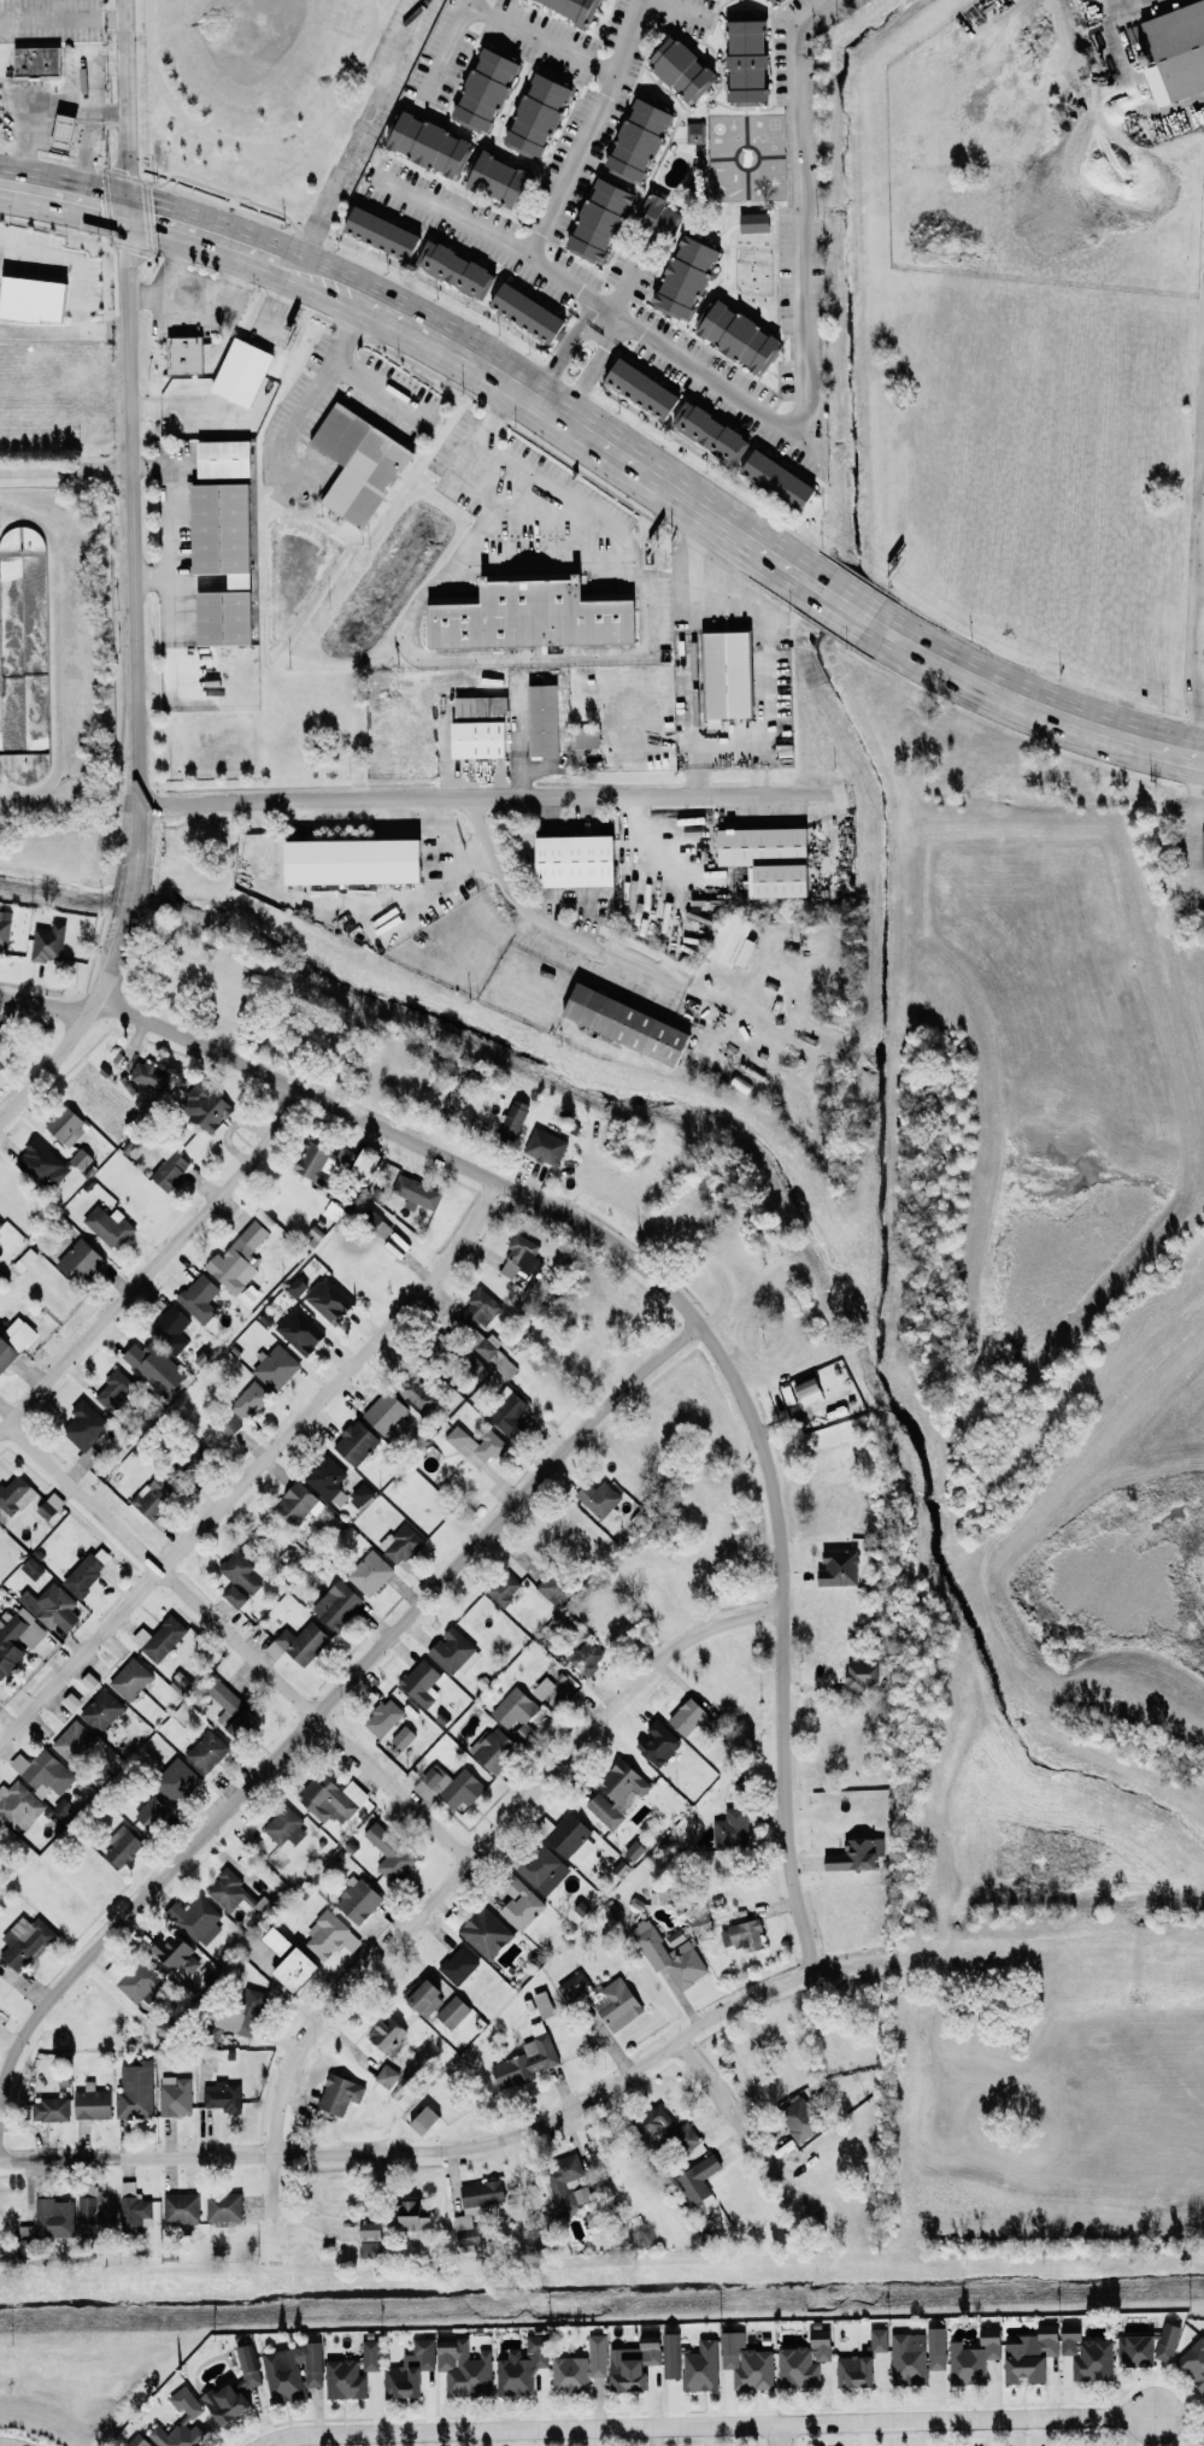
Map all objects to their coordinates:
building: (765, 1)
road: (1134, 7)
road: (95, 8)
building: (566, 8)
road: (675, 10)
road: (108, 17)
road: (48, 19)
road: (540, 37)
road: (447, 48)
building: (1170, 48)
building: (41, 60)
building: (739, 61)
building: (674, 67)
road: (365, 74)
road: (1140, 86)
building: (477, 88)
park: (276, 99)
road: (122, 105)
road: (110, 113)
building: (529, 114)
road: (89, 119)
road: (39, 127)
road: (589, 129)
building: (70, 131)
building: (691, 133)
road: (356, 134)
building: (630, 139)
building: (421, 143)
road: (258, 146)
building: (489, 177)
road: (61, 195)
traffic signals: (124, 210)
building: (652, 216)
building: (592, 218)
building: (374, 231)
road: (210, 234)
road: (178, 264)
road: (72, 265)
building: (447, 269)
building: (677, 276)
road: (628, 277)
building: (37, 299)
road: (206, 304)
building: (518, 311)
road: (597, 319)
road: (607, 327)
road: (64, 336)
building: (730, 336)
building: (178, 354)
road: (560, 363)
building: (1203, 370)
building: (233, 371)
road: (585, 378)
building: (634, 387)
road: (380, 388)
road: (313, 389)
road: (564, 416)
road: (781, 424)
building: (704, 433)
road: (1203, 449)
building: (219, 458)
building: (352, 464)
road: (66, 472)
building: (769, 478)
road: (1203, 506)
road: (539, 513)
road: (164, 521)
road: (134, 535)
building: (216, 560)
road: (536, 561)
road: (739, 590)
road: (846, 605)
road: (1197, 607)
building: (521, 617)
wastewater plant: (55, 642)
road: (698, 643)
building: (23, 648)
road: (511, 659)
road: (1198, 695)
road: (1030, 701)
road: (781, 706)
building: (535, 719)
building: (474, 728)
building: (577, 741)
road: (730, 762)
road: (499, 788)
road: (1198, 827)
building: (1202, 849)
building: (764, 859)
building: (564, 860)
building: (345, 862)
road: (129, 889)
building: (6, 928)
building: (52, 942)
building: (727, 942)
road: (619, 958)
road: (77, 1025)
building: (617, 1025)
building: (1, 1053)
building: (152, 1077)
building: (210, 1104)
building: (516, 1117)
building: (69, 1124)
building: (547, 1145)
building: (83, 1157)
building: (316, 1160)
building: (45, 1164)
river: (775, 1164)
building: (172, 1169)
building: (418, 1190)
building: (1, 1223)
building: (111, 1225)
building: (240, 1253)
building: (521, 1254)
road: (154, 1263)
road: (658, 1283)
building: (329, 1300)
building: (200, 1301)
building: (277, 1366)
building: (248, 1400)
building: (389, 1411)
building: (84, 1433)
building: (356, 1441)
building: (476, 1446)
building: (192, 1460)
road: (254, 1465)
building: (17, 1494)
building: (362, 1494)
building: (154, 1497)
building: (298, 1504)
building: (839, 1566)
building: (241, 1571)
building: (370, 1572)
building: (84, 1574)
building: (504, 1587)
building: (550, 1587)
building: (234, 1595)
building: (337, 1604)
building: (52, 1606)
building: (160, 1637)
building: (16, 1639)
road: (235, 1641)
building: (304, 1642)
building: (453, 1651)
building: (131, 1678)
building: (422, 1682)
road: (327, 1687)
building: (544, 1688)
building: (231, 1706)
building: (102, 1710)
building: (516, 1713)
building: (383, 1717)
building: (687, 1717)
building: (403, 1736)
building: (74, 1741)
building: (659, 1742)
building: (494, 1748)
building: (207, 1751)
building: (43, 1771)
building: (177, 1781)
building: (453, 1784)
building: (617, 1793)
building: (331, 1798)
building: (18, 1803)
building: (152, 1811)
building: (284, 1825)
building: (733, 1829)
building: (568, 1835)
building: (123, 1848)
building: (390, 1853)
building: (856, 1854)
building: (544, 1869)
road: (447, 1880)
building: (230, 1891)
building: (357, 1900)
building: (519, 1903)
building: (196, 1918)
building: (700, 1923)
building: (486, 1933)
building: (325, 1935)
building: (742, 1935)
building: (276, 1940)
building: (25, 1941)
building: (351, 1941)
building: (175, 1952)
building: (670, 1953)
building: (458, 1965)
building: (295, 1969)
building: (142, 1982)
building: (574, 1986)
building: (424, 1998)
building: (598, 2000)
building: (544, 2004)
building: (619, 2004)
building: (453, 2011)
building: (239, 2012)
building: (0, 2017)
building: (387, 2033)
building: (528, 2059)
building: (387, 2075)
building: (135, 2089)
building: (340, 2094)
building: (176, 2095)
building: (223, 2095)
building: (93, 2103)
building: (51, 2109)
building: (799, 2117)
building: (424, 2119)
road: (739, 2125)
building: (669, 2130)
road: (463, 2146)
building: (698, 2179)
building: (566, 2182)
building: (224, 2206)
building: (476, 2207)
building: (134, 2209)
building: (181, 2209)
building: (415, 2213)
building: (54, 2217)
building: (371, 2235)
building: (879, 2339)
building: (1147, 2347)
building: (670, 2356)
building: (917, 2356)
building: (1029, 2356)
building: (1088, 2357)
building: (974, 2358)
building: (746, 2362)
building: (803, 2363)
building: (1193, 2363)
building: (634, 2364)
building: (248, 2365)
building: (522, 2366)
building: (701, 2366)
building: (464, 2368)
building: (580, 2368)
building: (410, 2370)
building: (293, 2371)
building: (854, 2371)
building: (352, 2372)
building: (225, 2403)
building: (184, 2423)
road: (703, 2426)
road: (780, 2435)
building: (139, 2441)
building: (1203, 2442)

